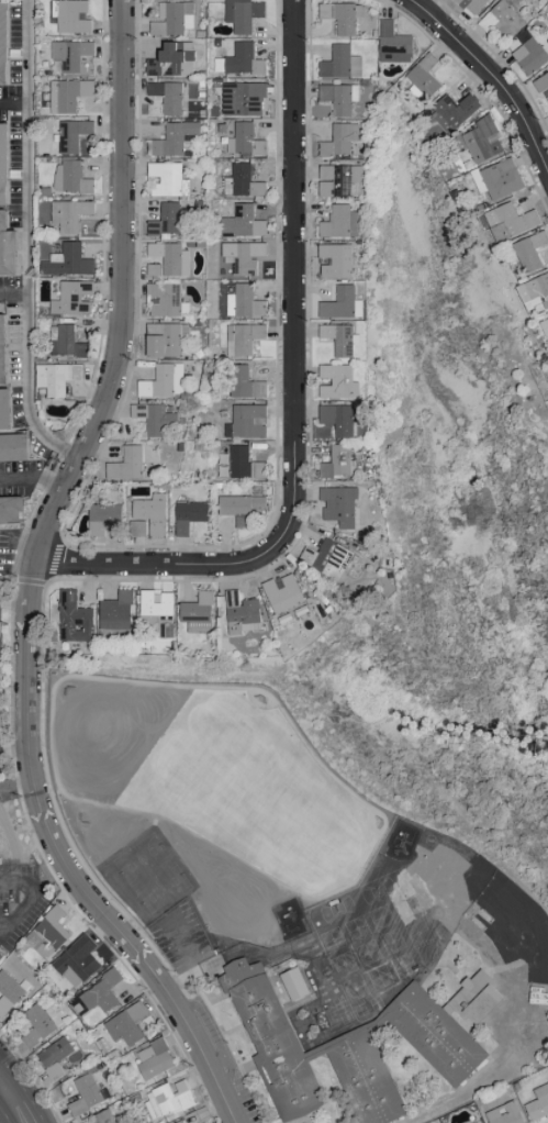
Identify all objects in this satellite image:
building: (472, 5)
building: (243, 14)
building: (342, 15)
building: (172, 18)
building: (506, 18)
building: (2, 43)
building: (394, 43)
building: (71, 54)
building: (172, 59)
building: (244, 60)
building: (340, 63)
road: (492, 75)
building: (424, 76)
building: (541, 85)
building: (68, 94)
building: (168, 96)
building: (339, 97)
building: (243, 99)
road: (14, 104)
building: (455, 110)
building: (74, 132)
building: (175, 138)
building: (340, 140)
building: (484, 140)
building: (245, 141)
building: (3, 163)
building: (71, 177)
building: (501, 178)
building: (168, 179)
building: (338, 179)
building: (242, 181)
building: (66, 213)
building: (166, 220)
building: (508, 221)
building: (244, 222)
building: (340, 222)
road: (29, 243)
building: (7, 248)
building: (530, 251)
road: (295, 252)
building: (239, 258)
building: (171, 259)
building: (68, 260)
building: (337, 260)
building: (154, 269)
building: (535, 291)
road: (14, 293)
building: (72, 298)
building: (167, 300)
building: (244, 301)
building: (343, 303)
building: (545, 325)
building: (165, 338)
building: (243, 338)
building: (340, 338)
building: (69, 342)
building: (2, 352)
building: (56, 377)
building: (164, 381)
building: (338, 382)
building: (246, 383)
building: (4, 410)
building: (156, 419)
building: (338, 419)
building: (248, 421)
building: (13, 447)
building: (339, 463)
building: (126, 464)
building: (245, 464)
road: (34, 477)
building: (339, 505)
building: (239, 507)
building: (10, 511)
building: (152, 513)
building: (189, 515)
building: (103, 518)
building: (137, 527)
building: (327, 558)
road: (184, 564)
road: (37, 581)
building: (282, 593)
road: (18, 603)
building: (116, 611)
building: (157, 611)
building: (198, 613)
building: (241, 613)
building: (74, 618)
road: (15, 749)
road: (18, 783)
building: (7, 814)
building: (13, 850)
road: (13, 881)
road: (23, 912)
building: (524, 921)
building: (227, 930)
building: (47, 933)
building: (496, 936)
road: (519, 937)
parking lot: (188, 948)
building: (0, 949)
building: (1, 955)
building: (77, 960)
road: (202, 974)
building: (298, 988)
building: (9, 991)
building: (101, 991)
building: (41, 1023)
building: (126, 1024)
building: (347, 1050)
building: (154, 1057)
building: (53, 1060)
parking lot: (231, 1060)
road: (2, 1089)
building: (87, 1093)
building: (168, 1099)
road: (13, 1102)
building: (538, 1103)
building: (505, 1113)
building: (103, 1116)
building: (180, 1122)
building: (206, 1122)

